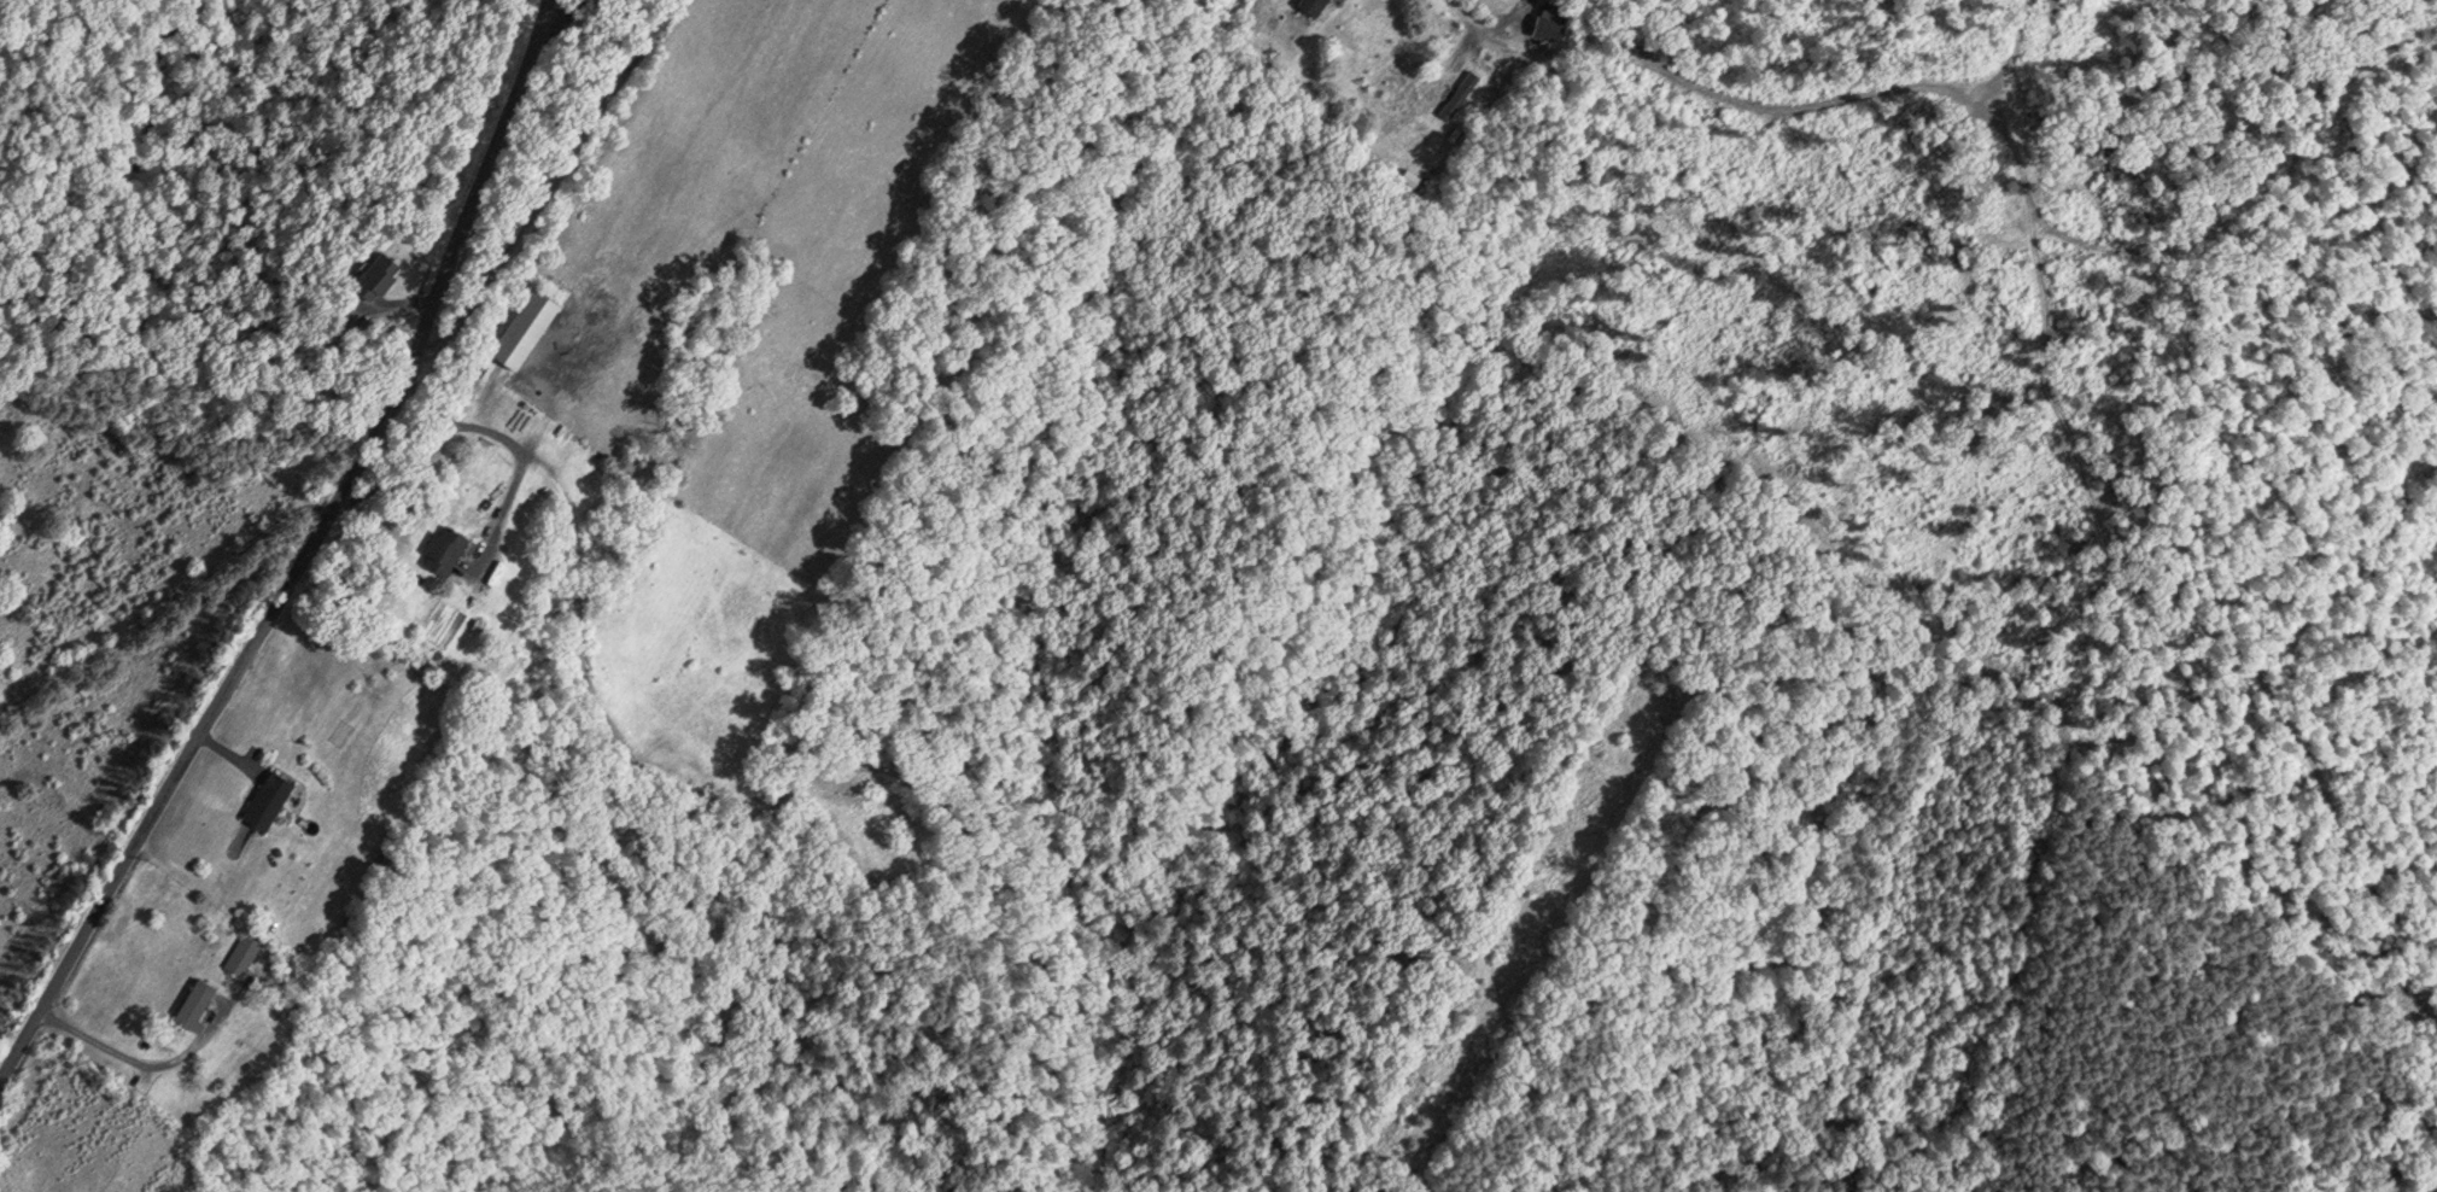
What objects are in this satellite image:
building: (1308, 6)
road: (566, 7)
road: (1474, 19)
building: (1457, 94)
road: (481, 183)
road: (550, 189)
building: (378, 275)
building: (520, 326)
road: (521, 449)
road: (404, 471)
building: (438, 548)
road: (206, 725)
building: (262, 797)
building: (239, 952)
building: (188, 1003)
road: (135, 1057)

